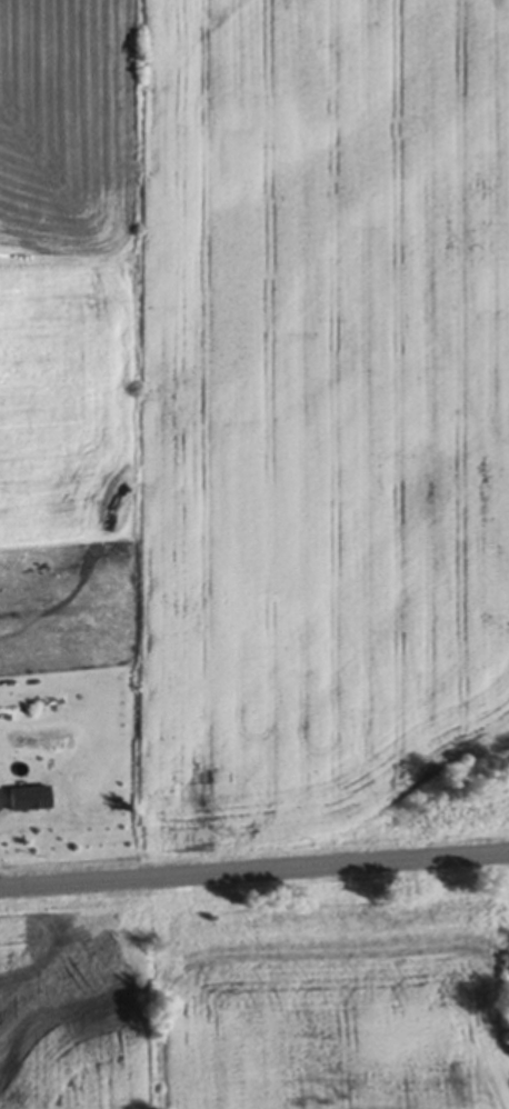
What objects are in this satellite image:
building: (31, 795)
building: (0, 801)
road: (255, 867)
crop: (257, 991)

